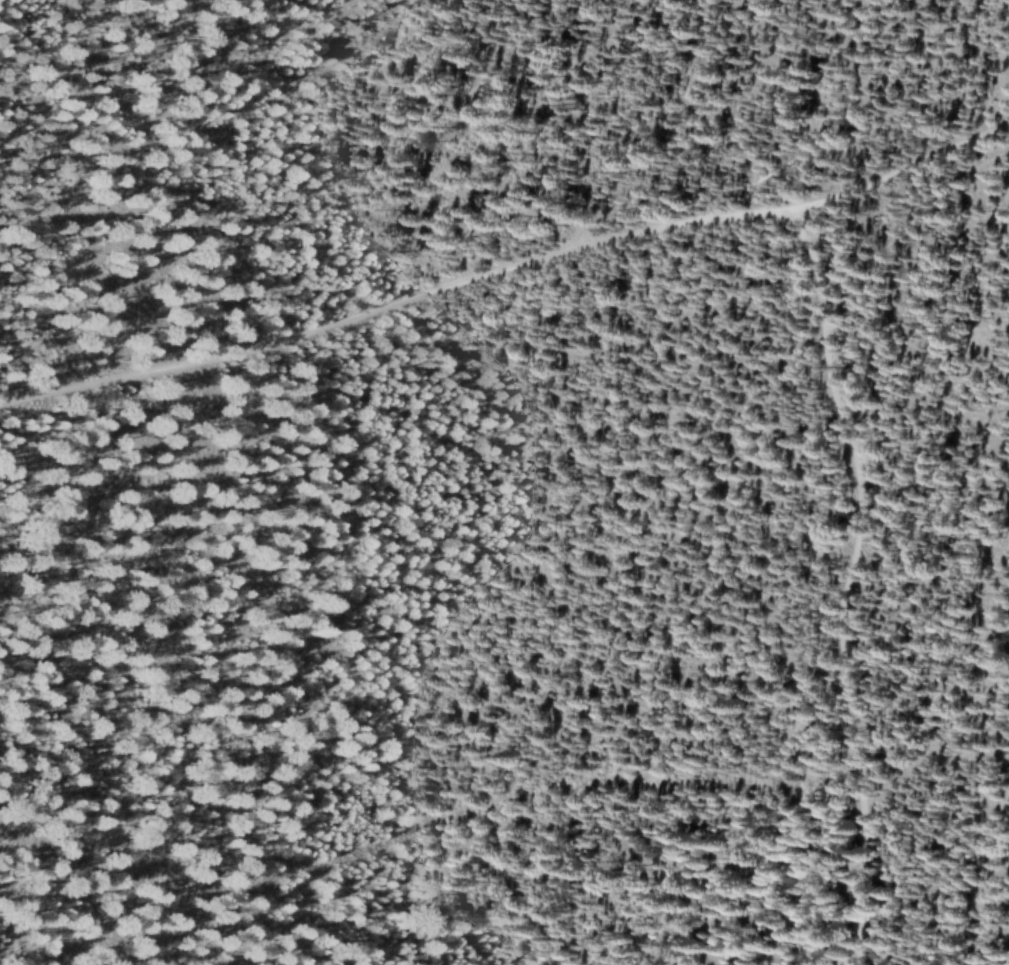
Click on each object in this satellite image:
road: (506, 268)
road: (847, 582)
road: (428, 825)
road: (299, 915)

